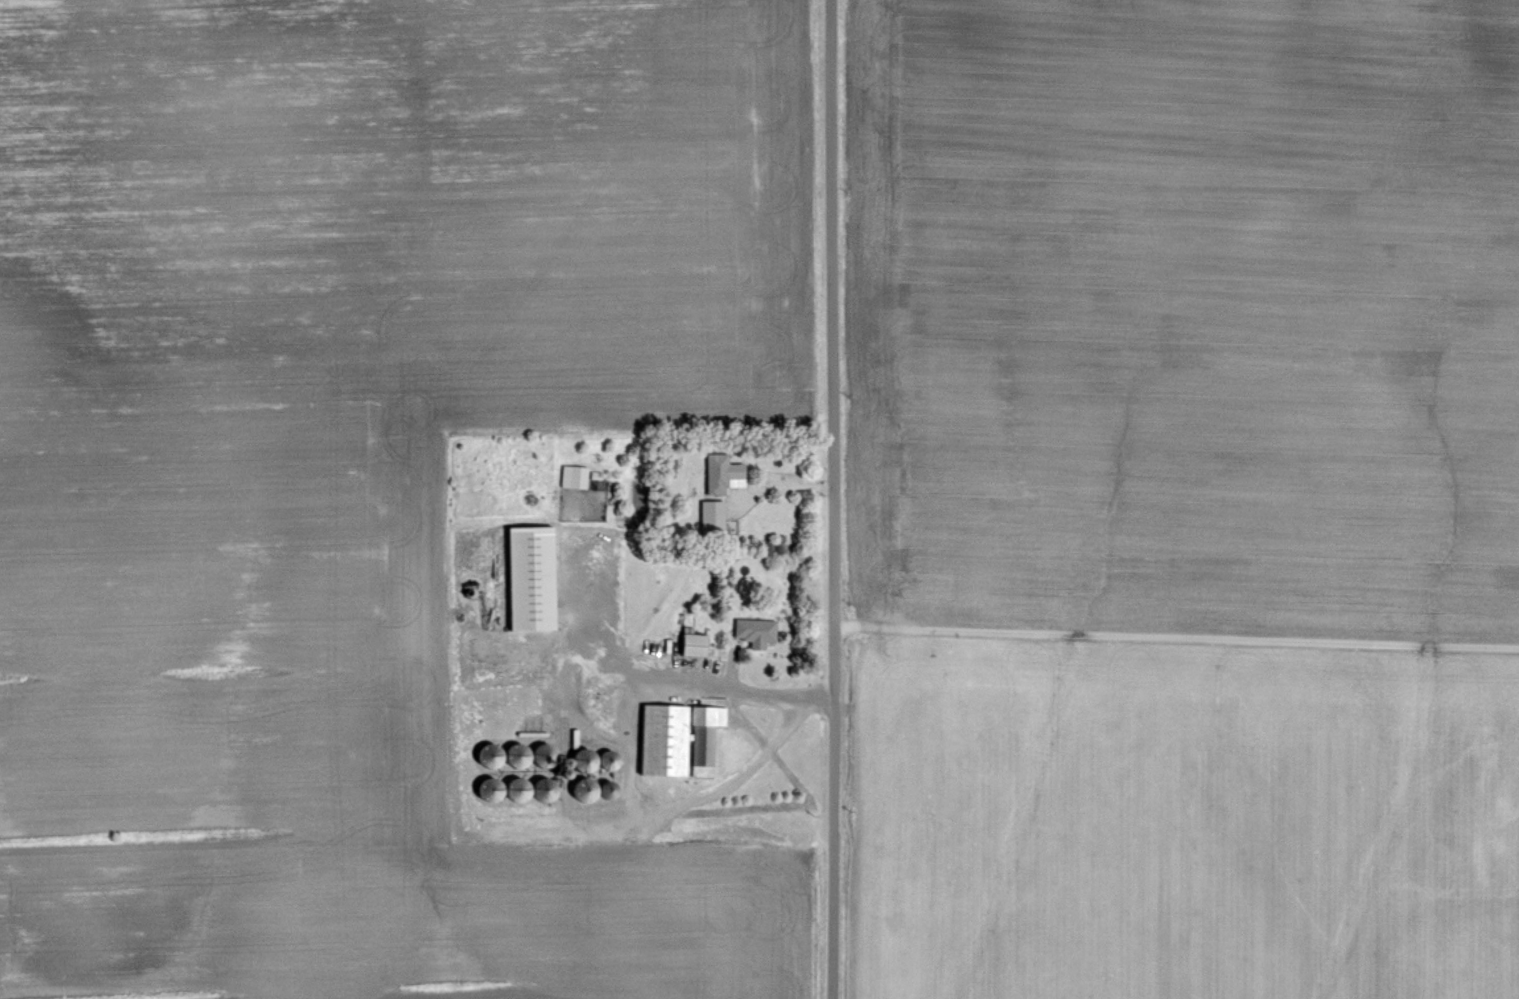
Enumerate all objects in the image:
building: (725, 474)
building: (577, 478)
road: (833, 499)
building: (717, 516)
building: (538, 580)
road: (1176, 632)
building: (760, 633)
building: (698, 646)
road: (732, 693)
building: (686, 741)

